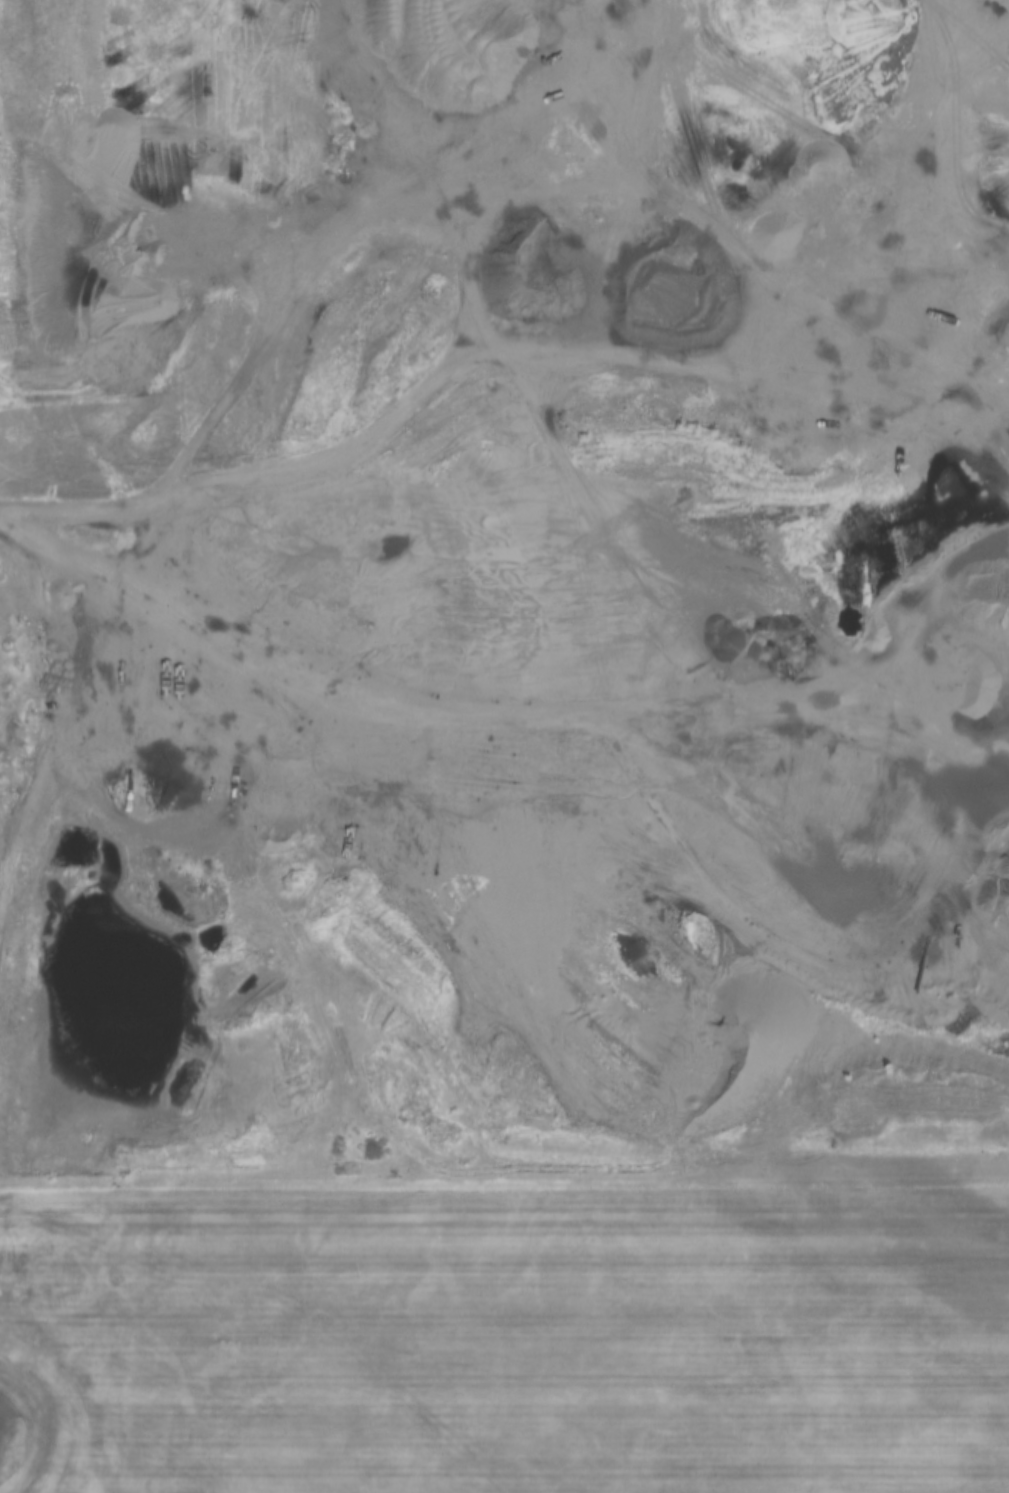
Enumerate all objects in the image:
quarry: (655, 577)

